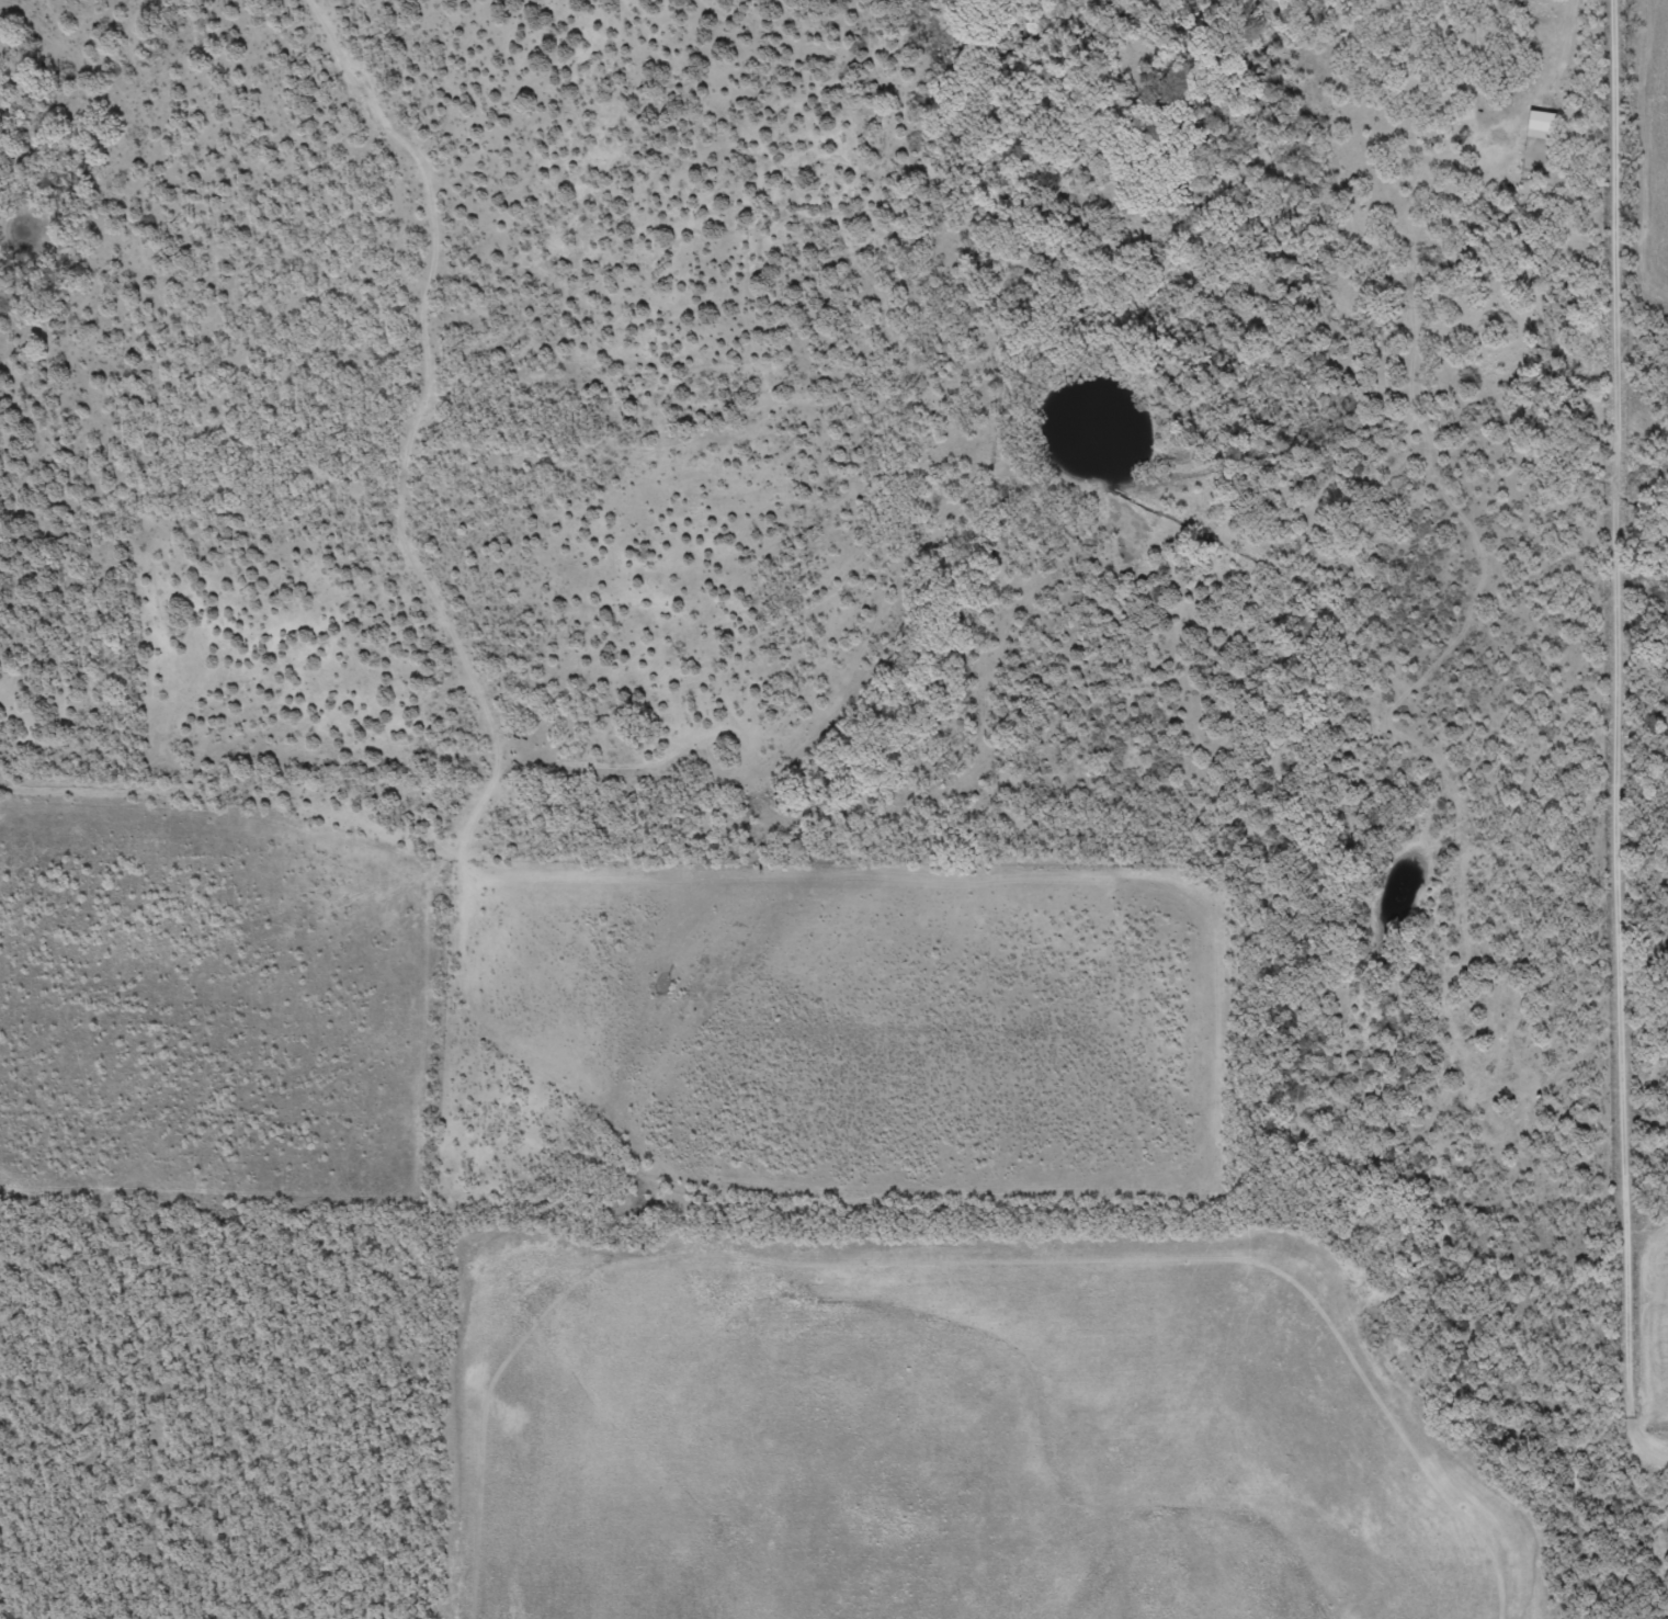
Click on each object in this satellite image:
road: (1619, 740)

